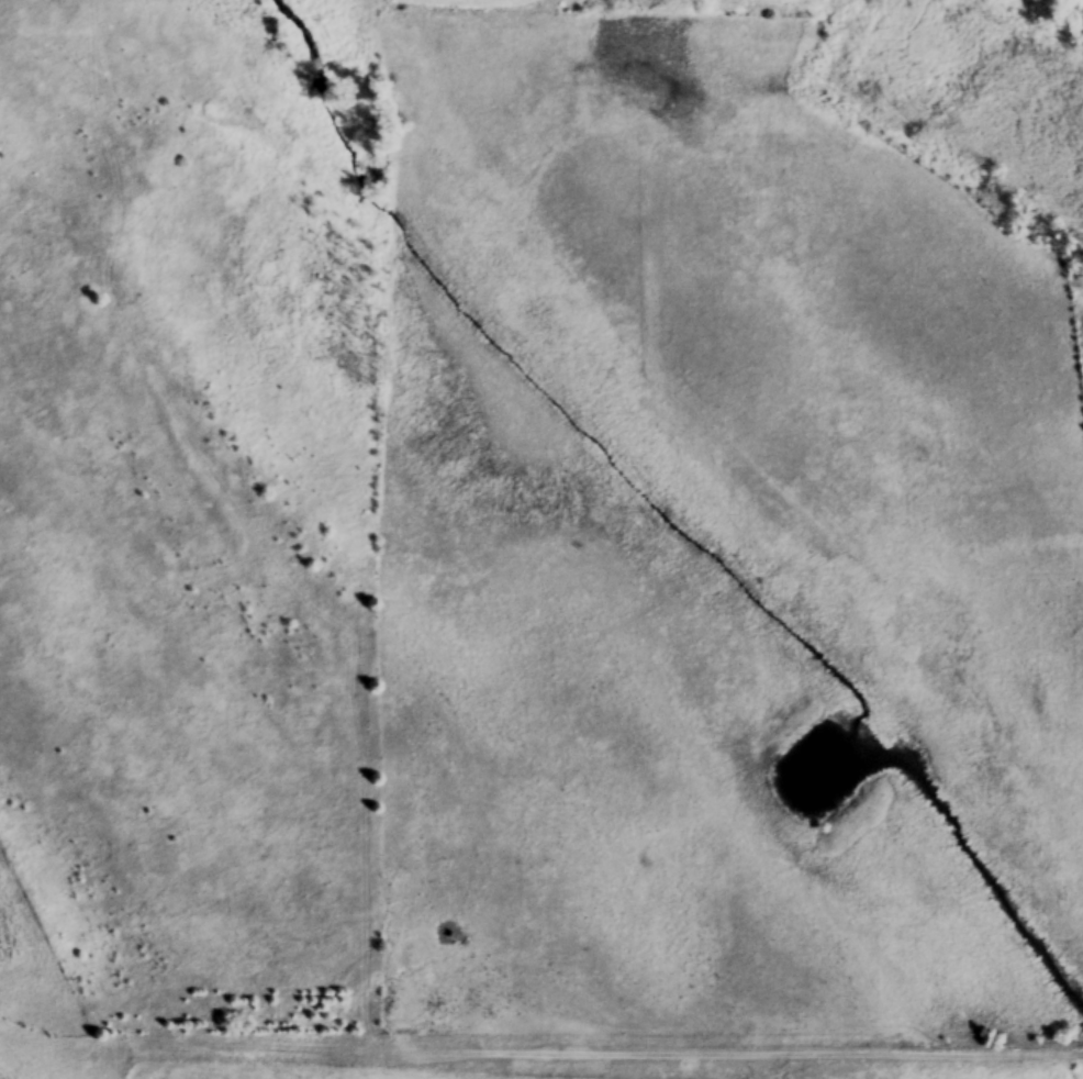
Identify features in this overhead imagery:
road: (252, 1044)
road: (795, 1045)

